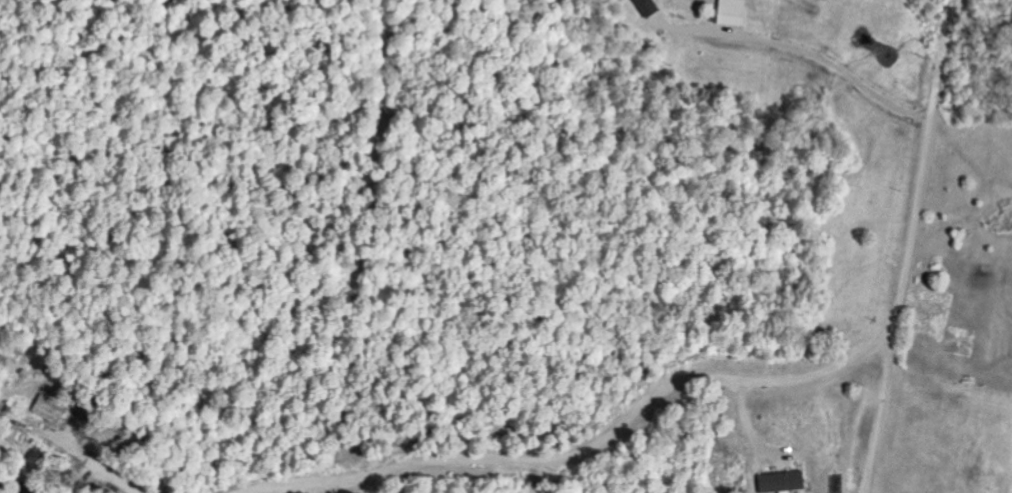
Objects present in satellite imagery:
building: (651, 7)
building: (735, 12)
road: (817, 61)
building: (926, 340)
road: (727, 378)
road: (883, 399)
building: (53, 409)
road: (97, 464)
building: (785, 482)

